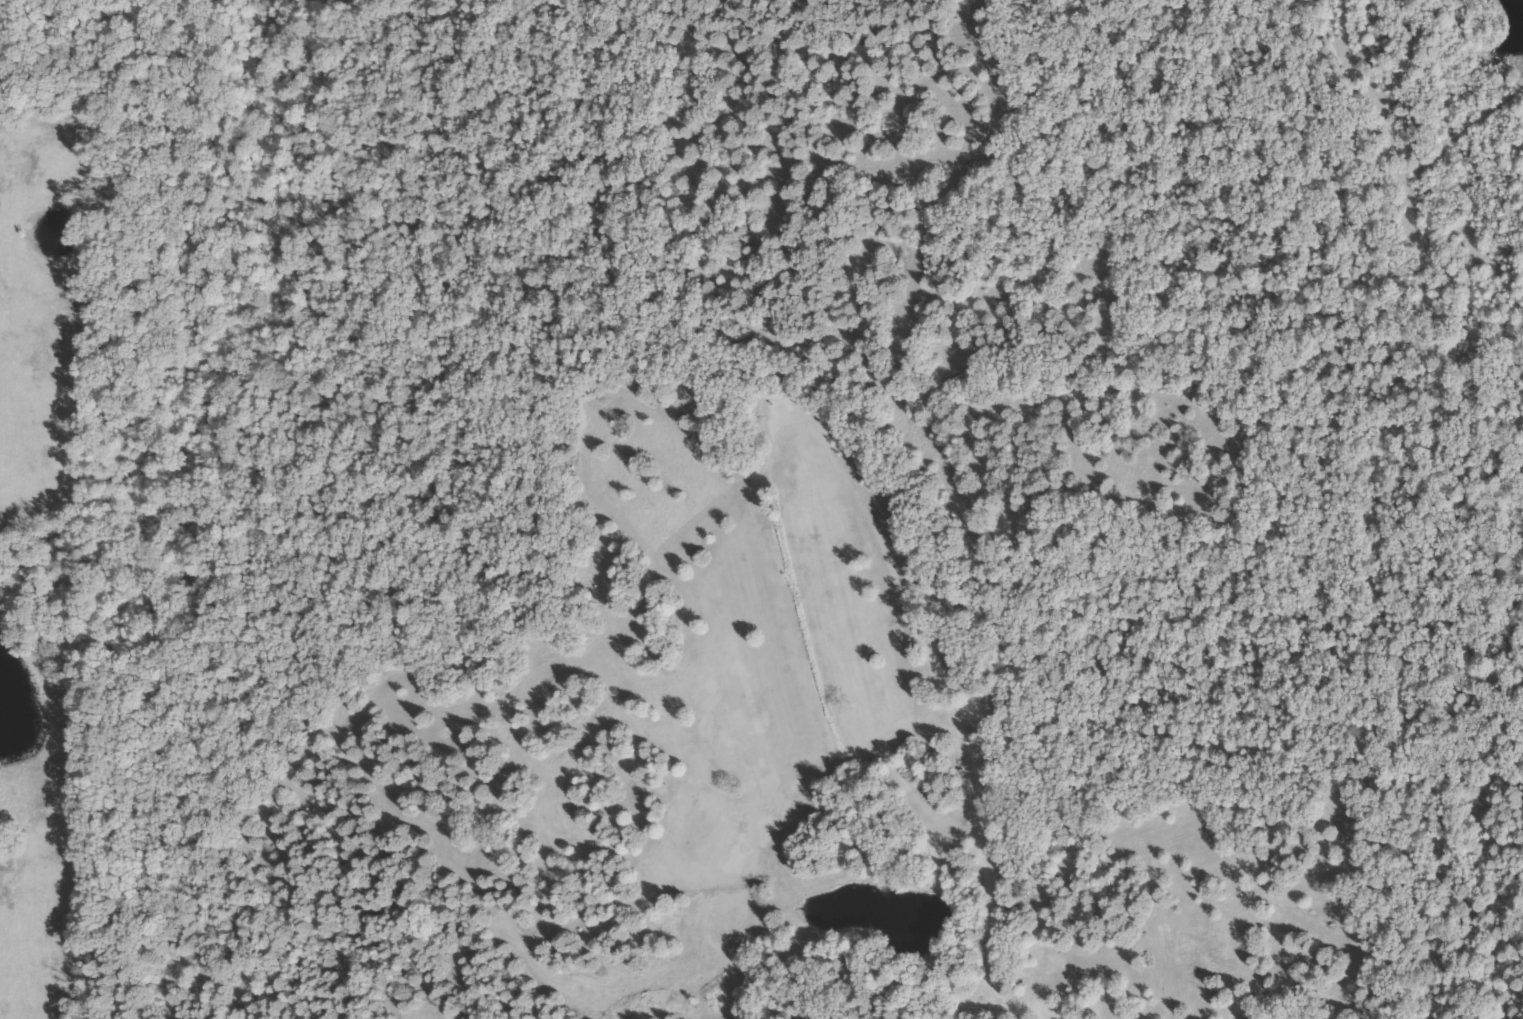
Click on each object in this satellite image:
road: (1014, 950)

